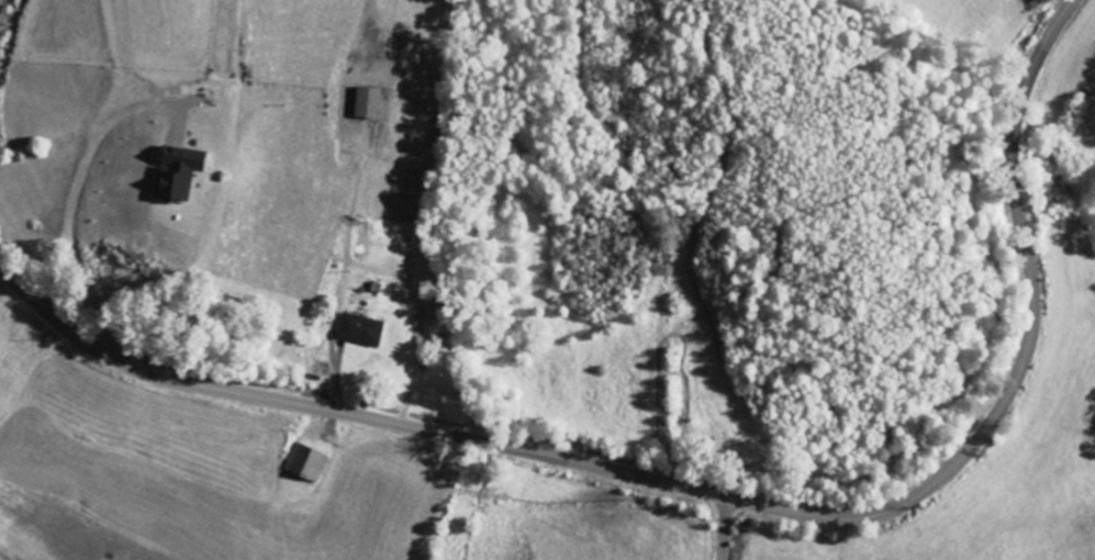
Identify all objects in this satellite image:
building: (369, 104)
building: (179, 175)
building: (360, 332)
building: (305, 463)
road: (714, 492)
road: (728, 528)

